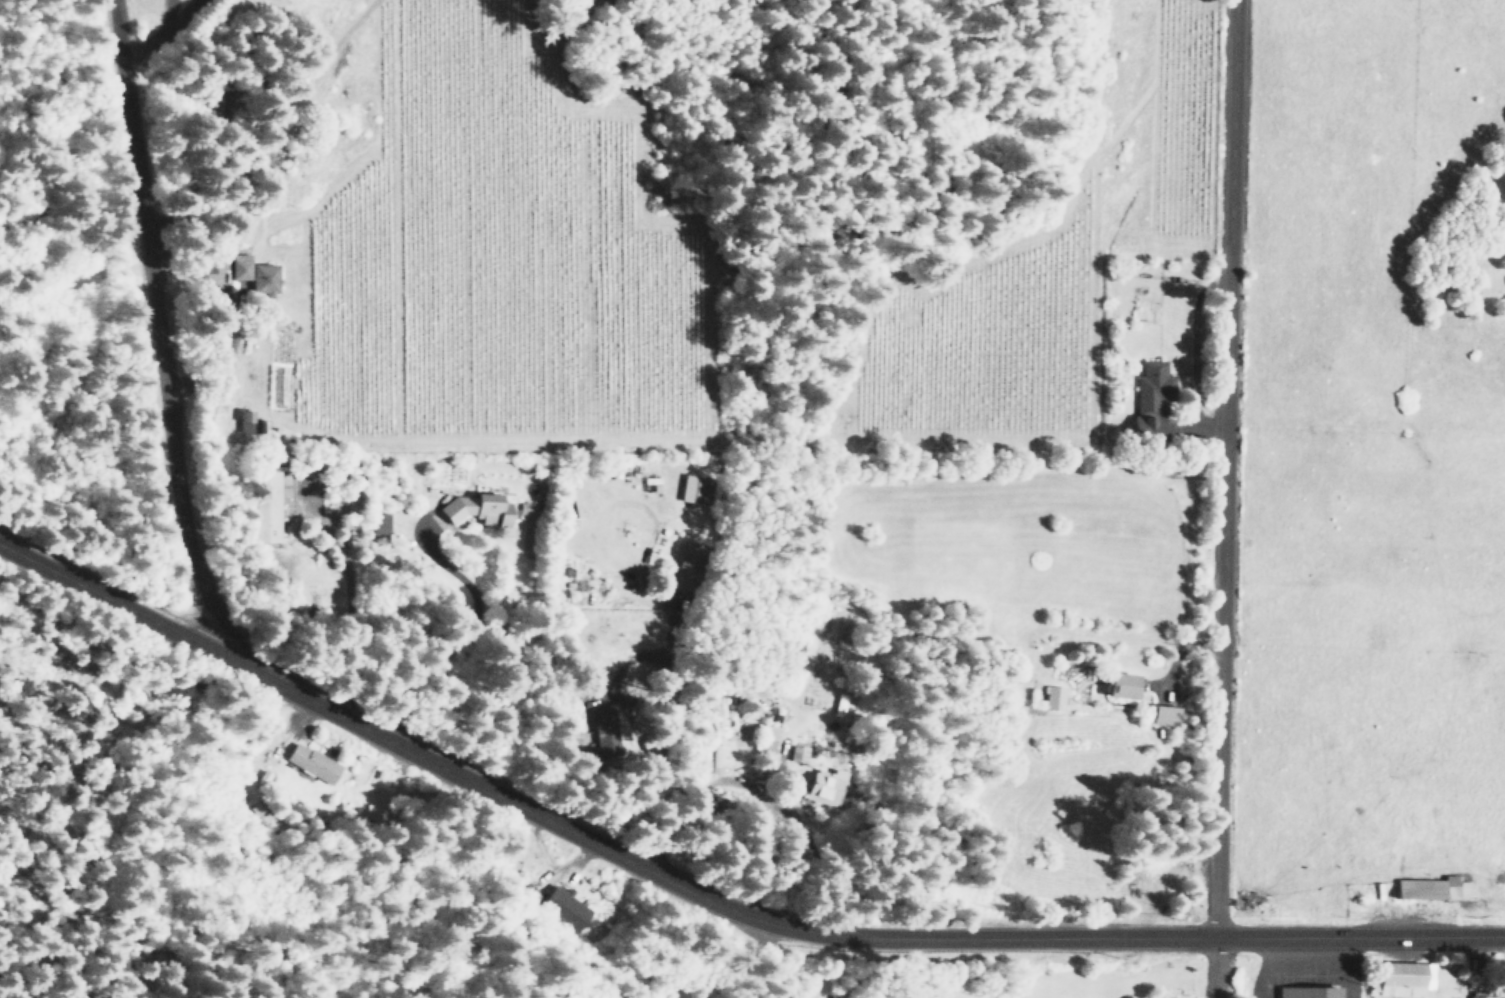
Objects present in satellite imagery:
building: (254, 274)
road: (143, 320)
building: (1150, 398)
building: (243, 421)
road: (1218, 467)
building: (694, 488)
building: (266, 506)
building: (478, 508)
building: (379, 525)
building: (686, 565)
road: (437, 659)
building: (1118, 684)
building: (1053, 697)
building: (1163, 714)
building: (570, 720)
building: (603, 731)
building: (765, 738)
building: (719, 743)
building: (797, 753)
building: (310, 762)
building: (824, 787)
building: (1431, 888)
road: (712, 899)
building: (564, 907)
road: (554, 916)
road: (1220, 966)
park: (998, 974)
building: (1401, 978)
building: (1307, 992)
building: (1479, 996)

